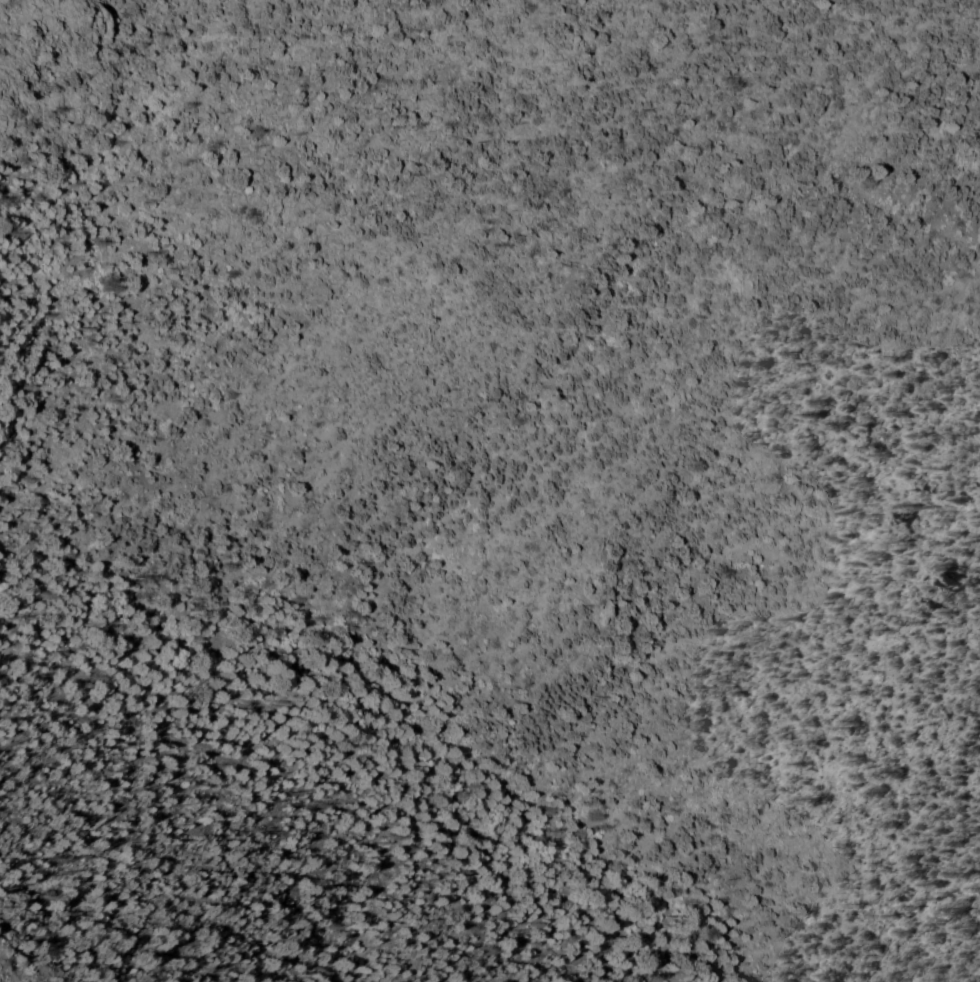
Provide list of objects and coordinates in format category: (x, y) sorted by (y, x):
road: (334, 767)

